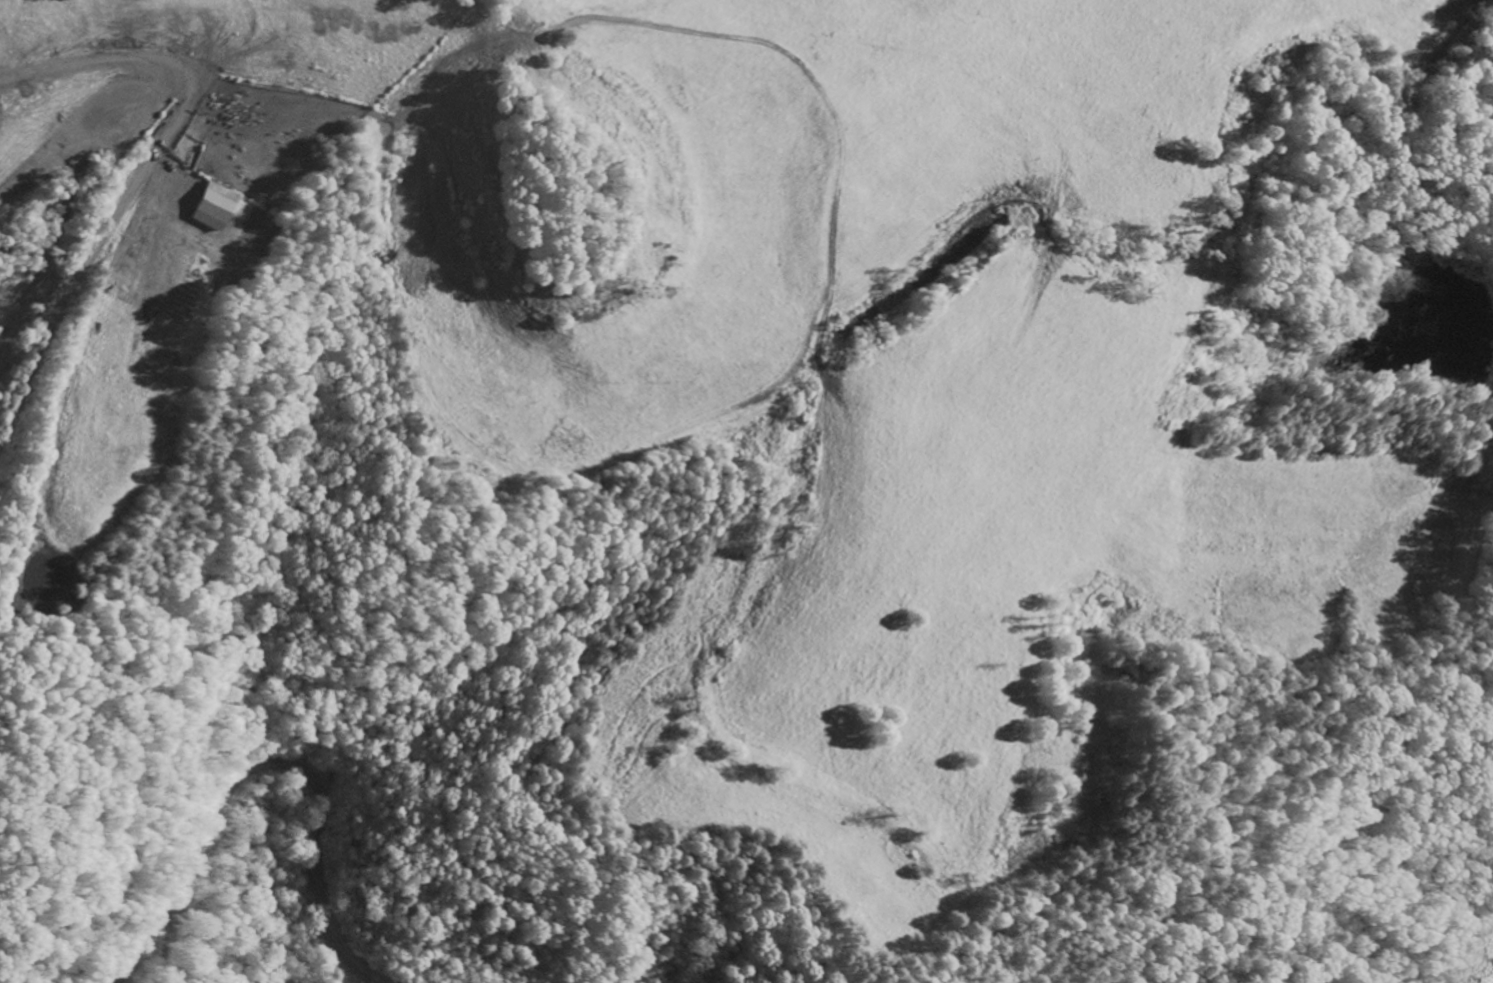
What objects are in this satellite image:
road: (147, 164)
building: (215, 206)
road: (264, 754)

